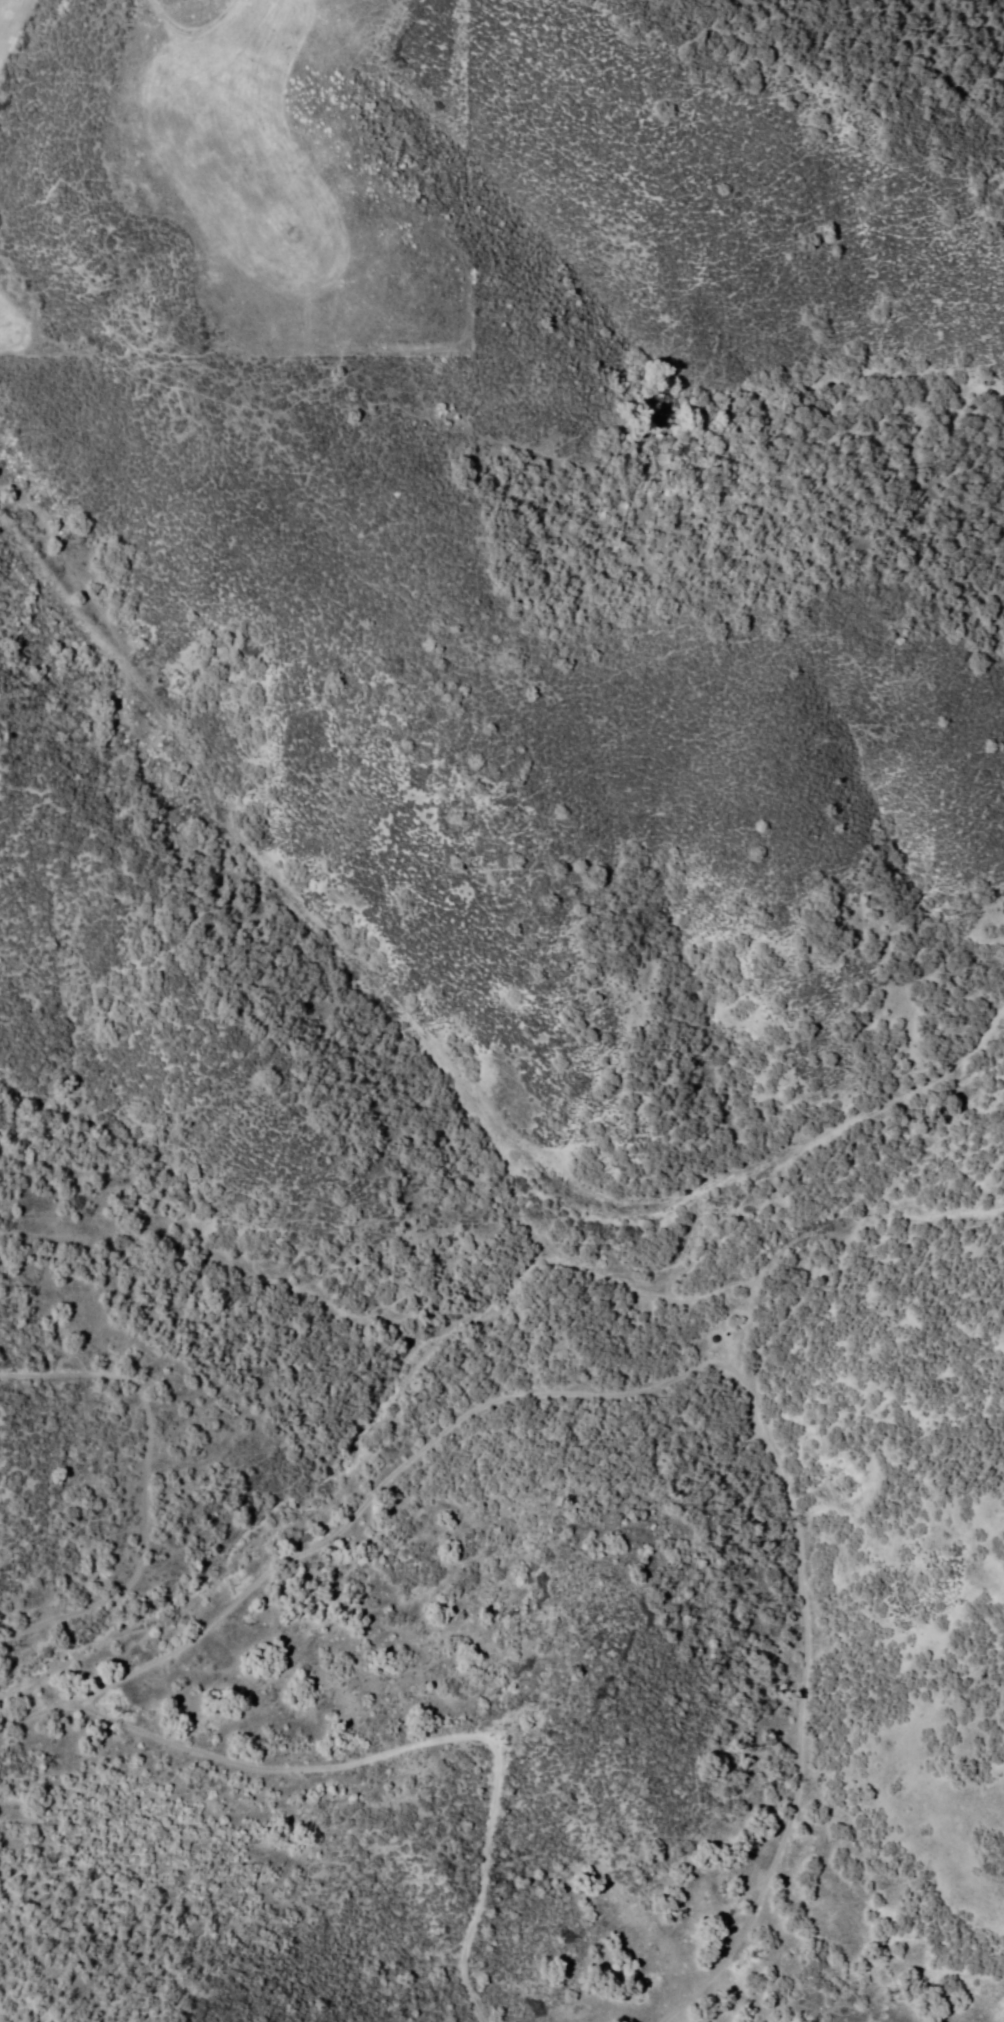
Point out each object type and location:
road: (407, 1381)
road: (785, 1484)
road: (158, 1734)
road: (704, 1986)

